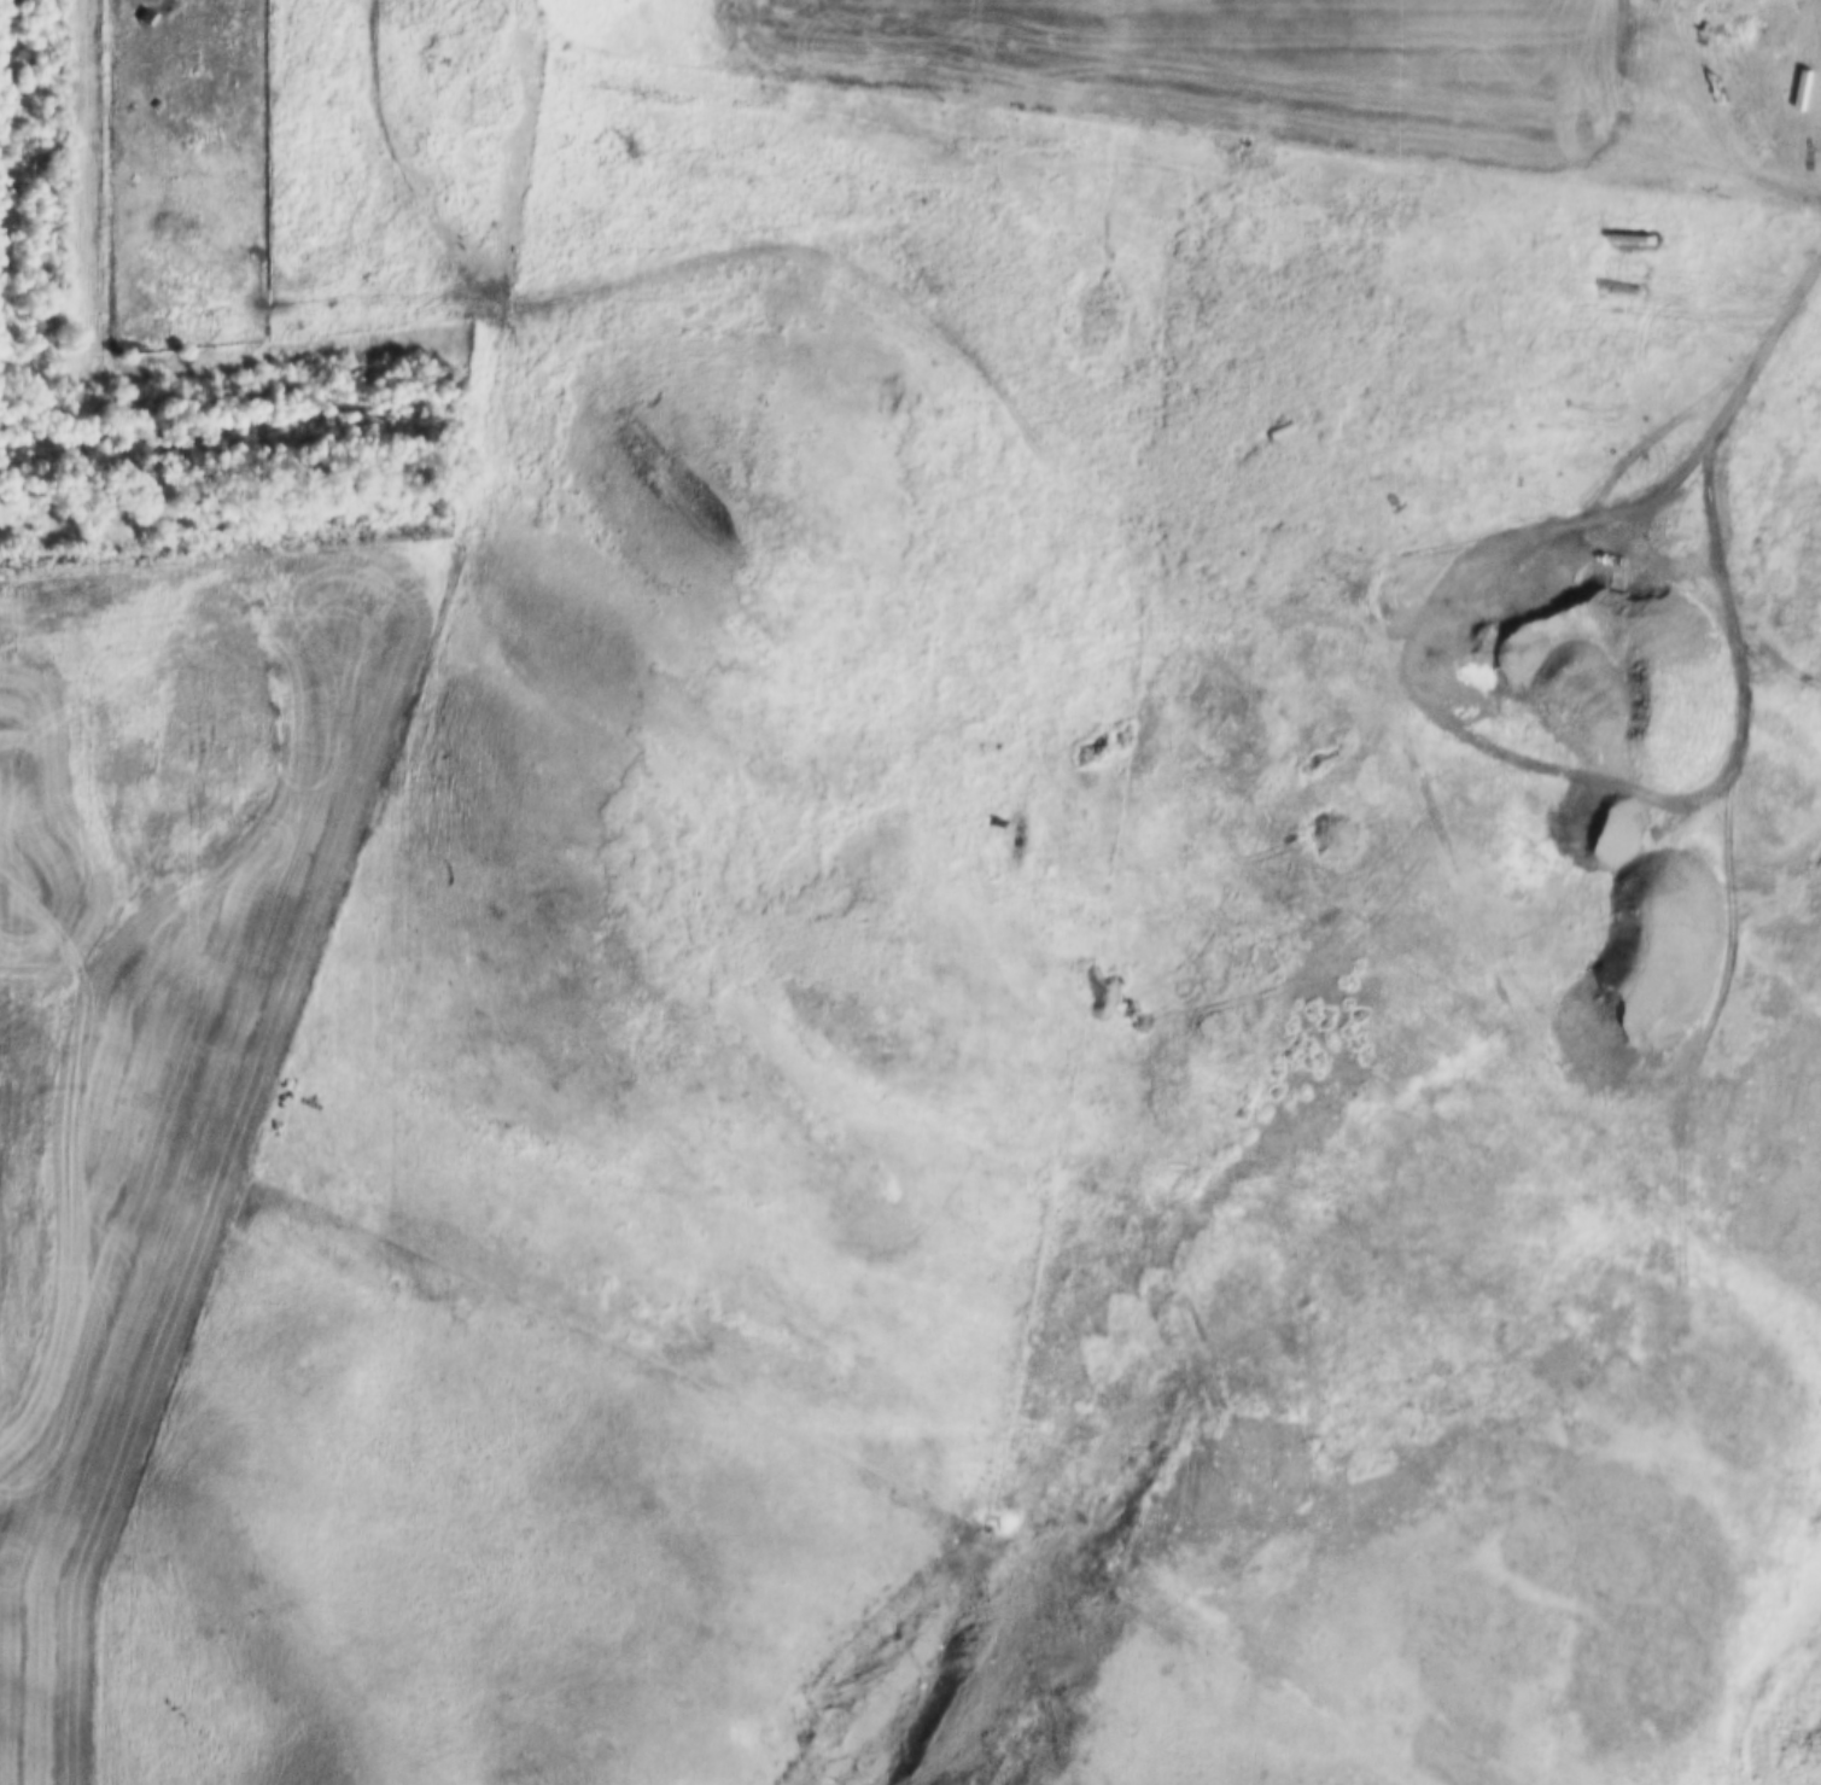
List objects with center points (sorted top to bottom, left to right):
road: (203, 355)

